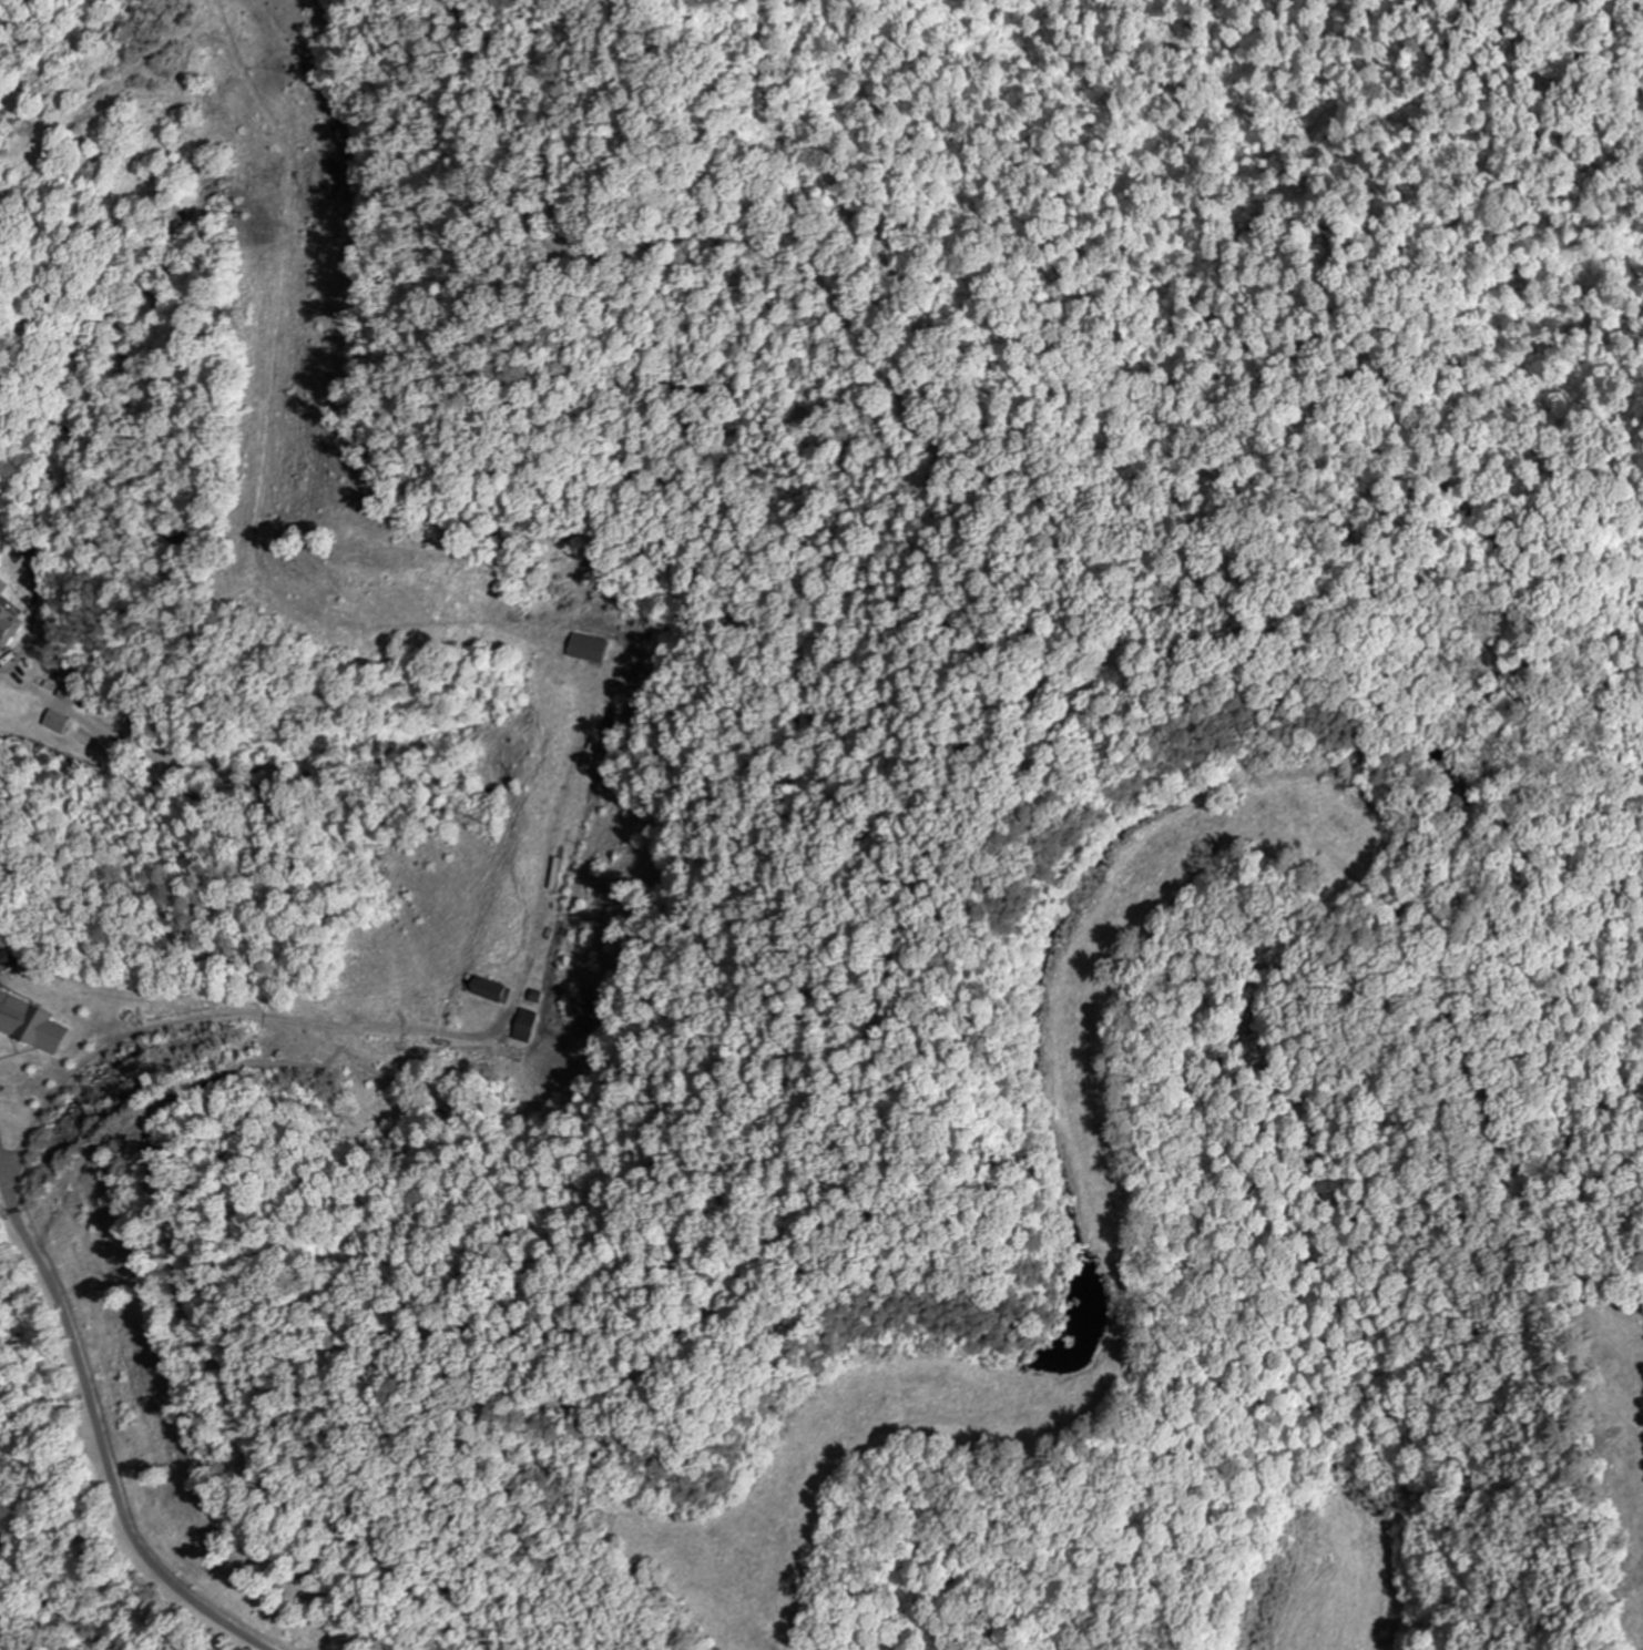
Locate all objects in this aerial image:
building: (2, 588)
building: (7, 629)
building: (589, 650)
building: (53, 723)
building: (554, 874)
building: (29, 1023)
building: (523, 1026)
building: (357, 1041)
road: (48, 1598)

